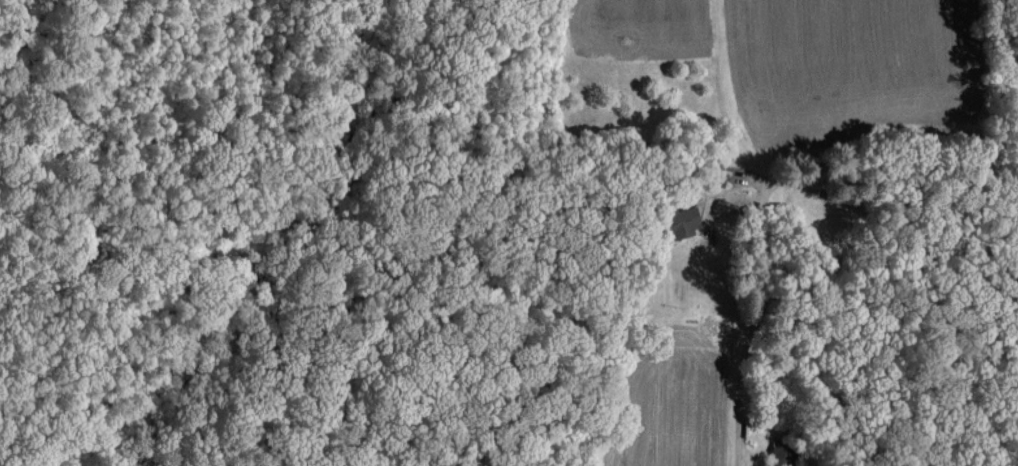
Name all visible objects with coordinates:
building: (685, 221)

